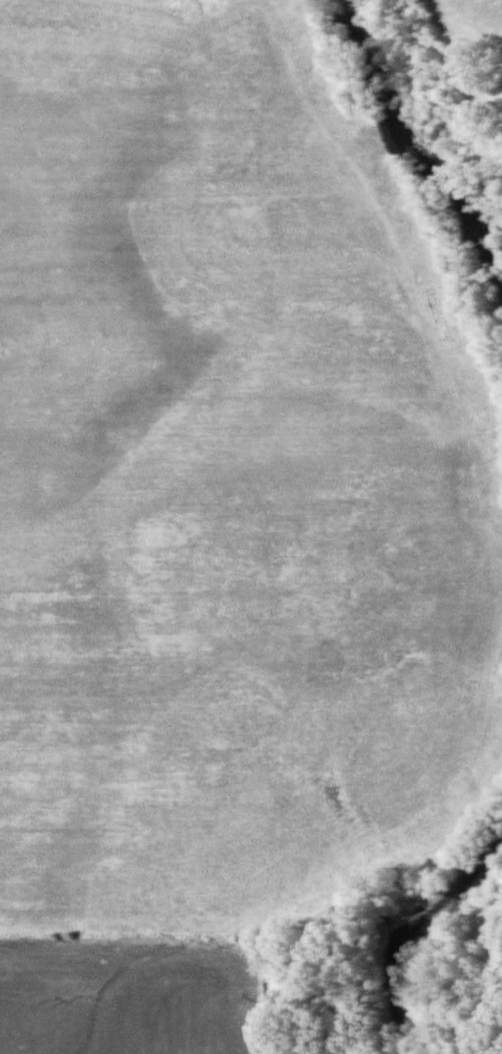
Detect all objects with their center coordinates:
river: (427, 136)
river: (444, 941)

